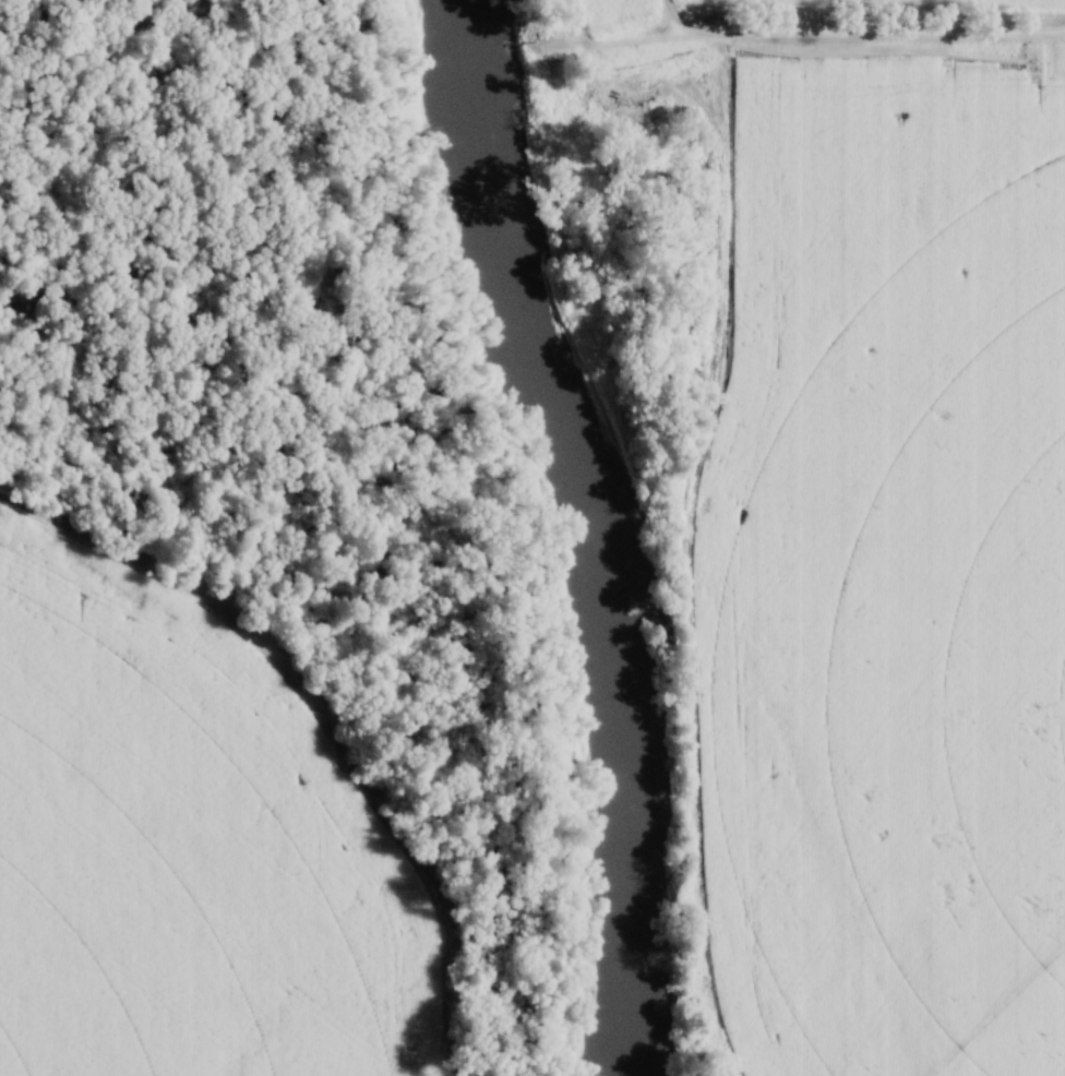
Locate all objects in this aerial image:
river: (578, 534)

